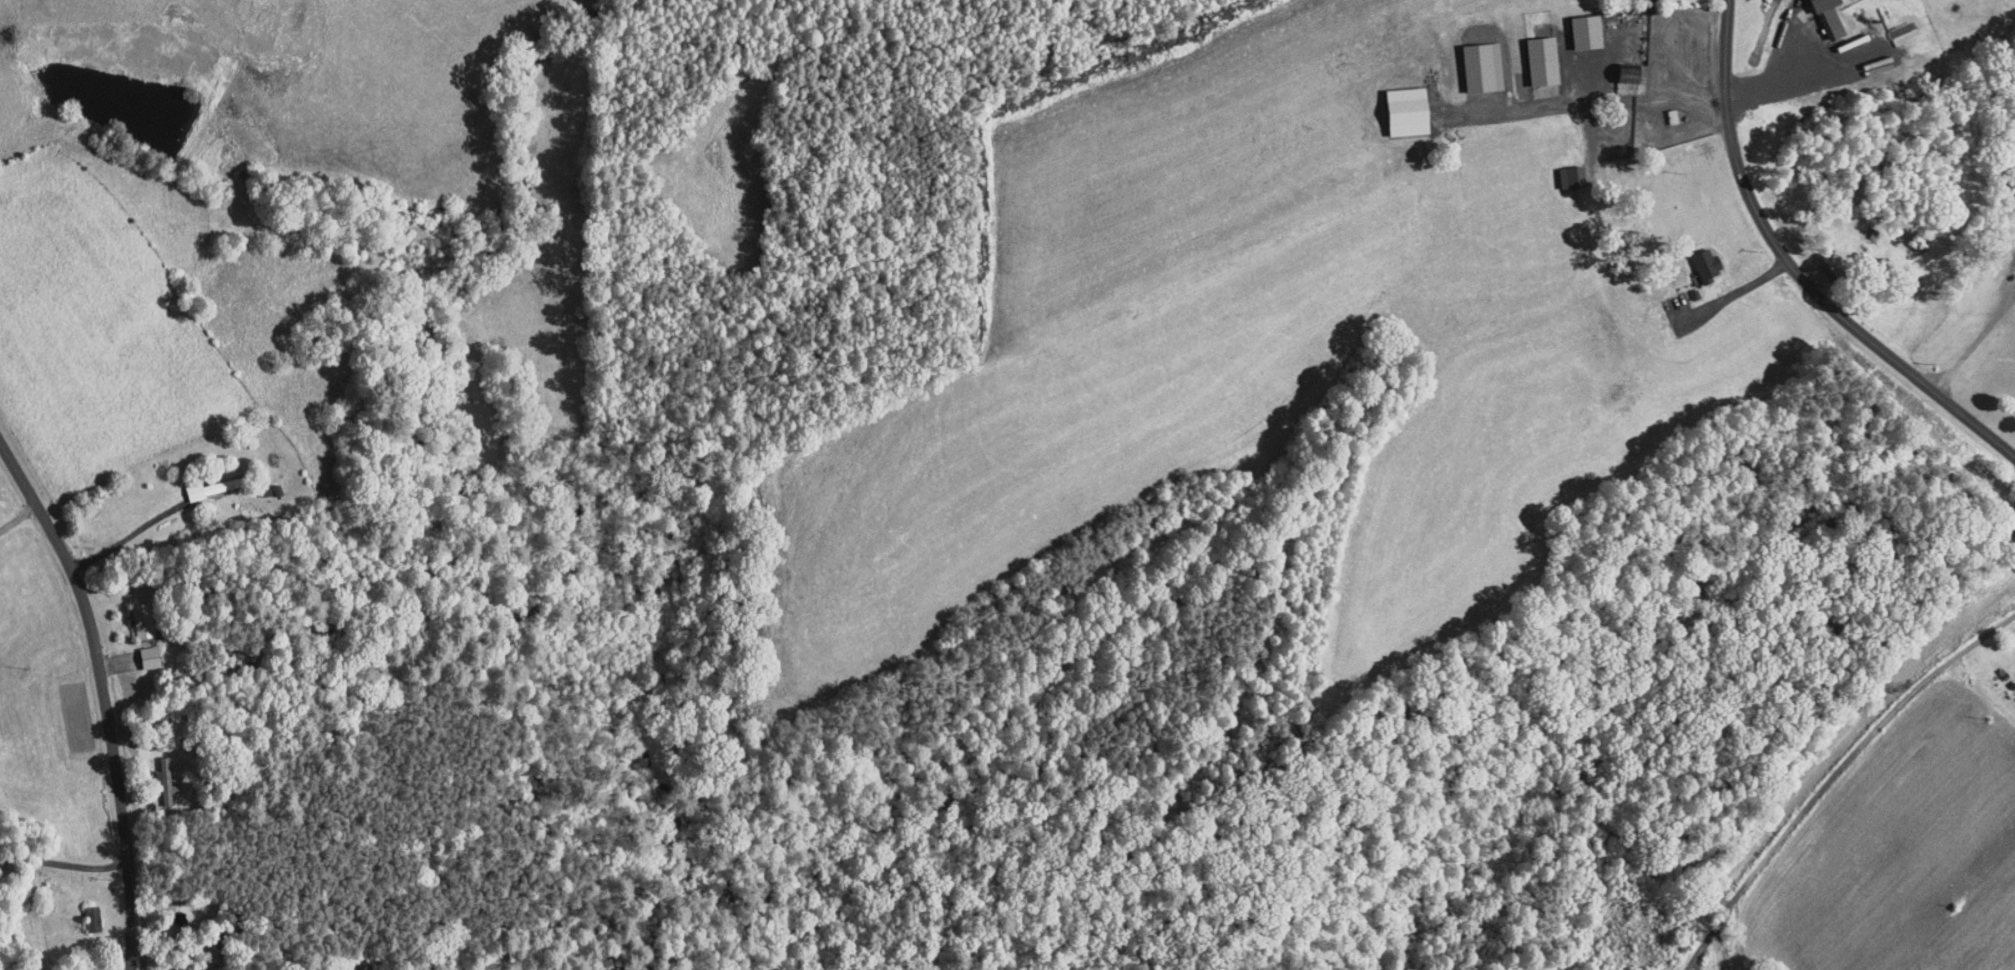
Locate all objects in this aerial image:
building: (1820, 16)
building: (1578, 25)
building: (1534, 54)
building: (1474, 61)
building: (1619, 71)
building: (1400, 104)
building: (1663, 110)
building: (1563, 171)
building: (1862, 257)
building: (1698, 260)
road: (1797, 269)
road: (18, 516)
building: (132, 613)
building: (140, 650)
road: (105, 694)
building: (156, 774)
road: (1834, 774)
road: (64, 860)
building: (168, 965)

